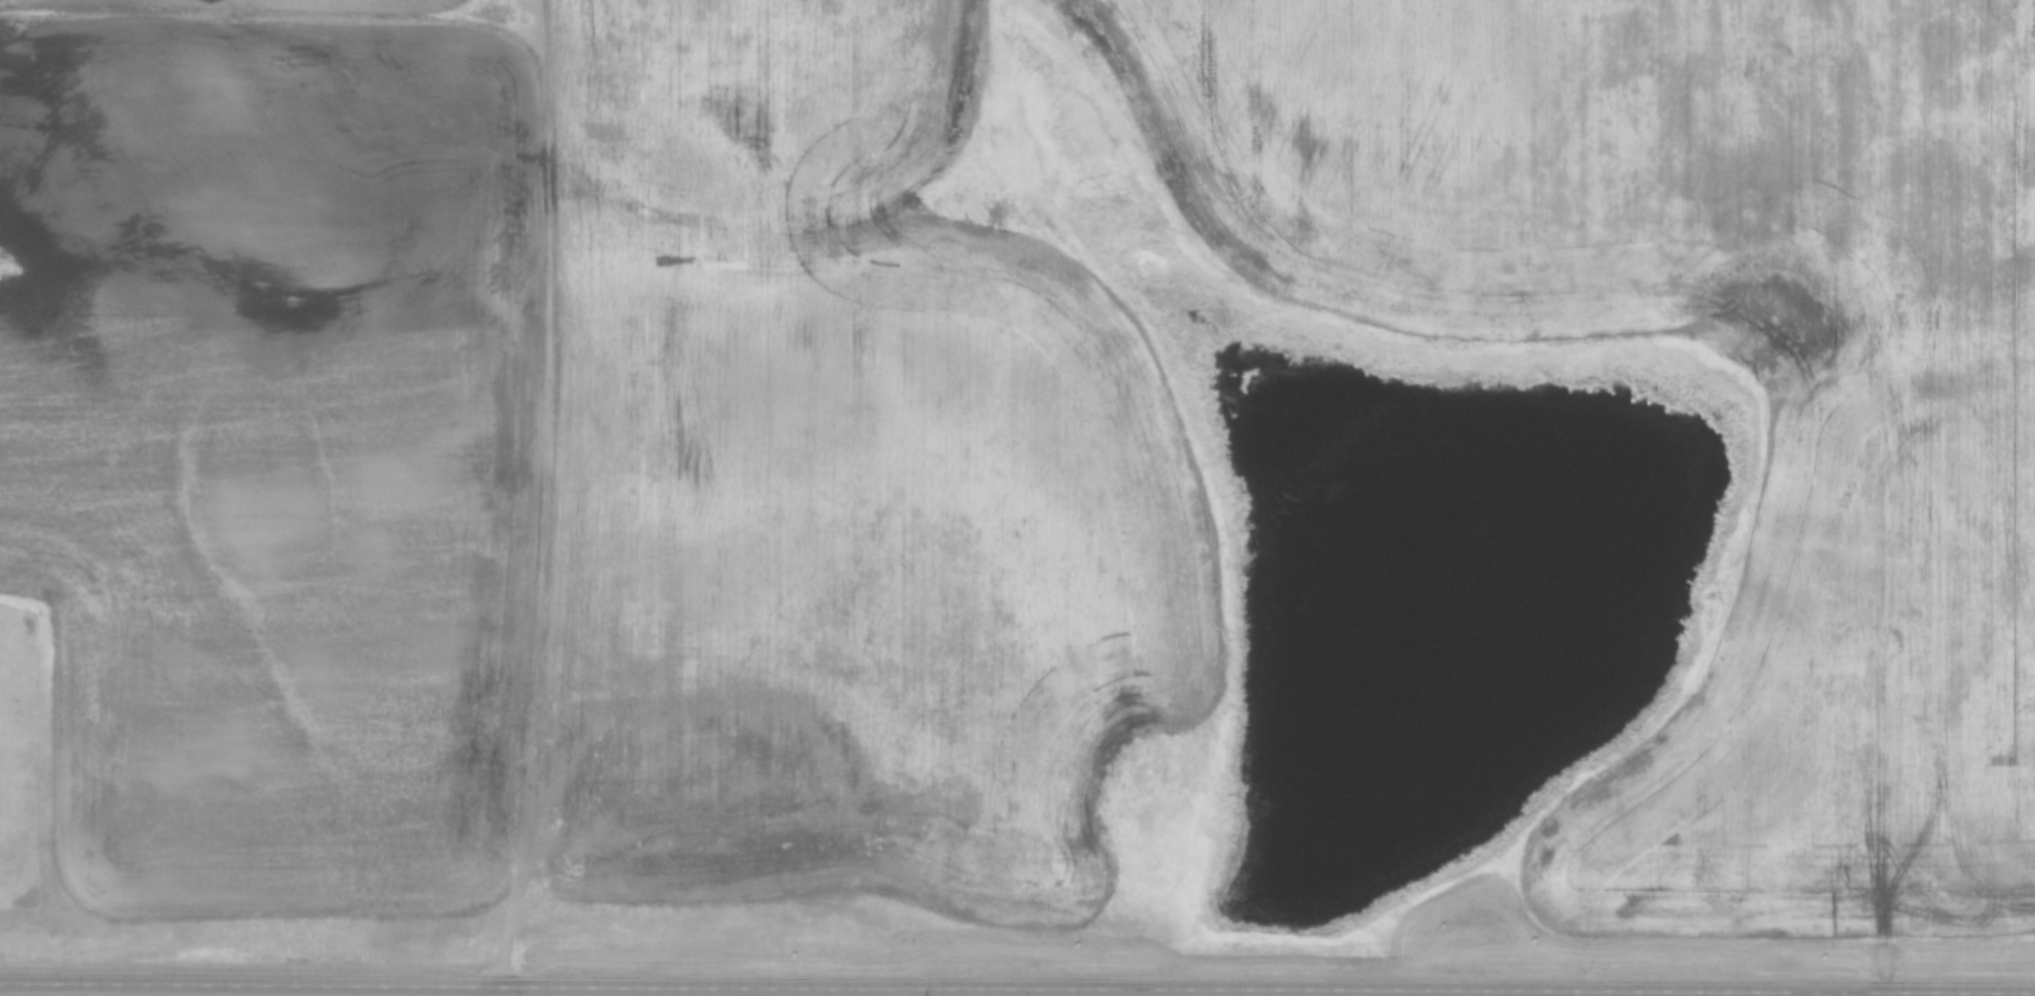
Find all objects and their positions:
road: (1017, 987)

